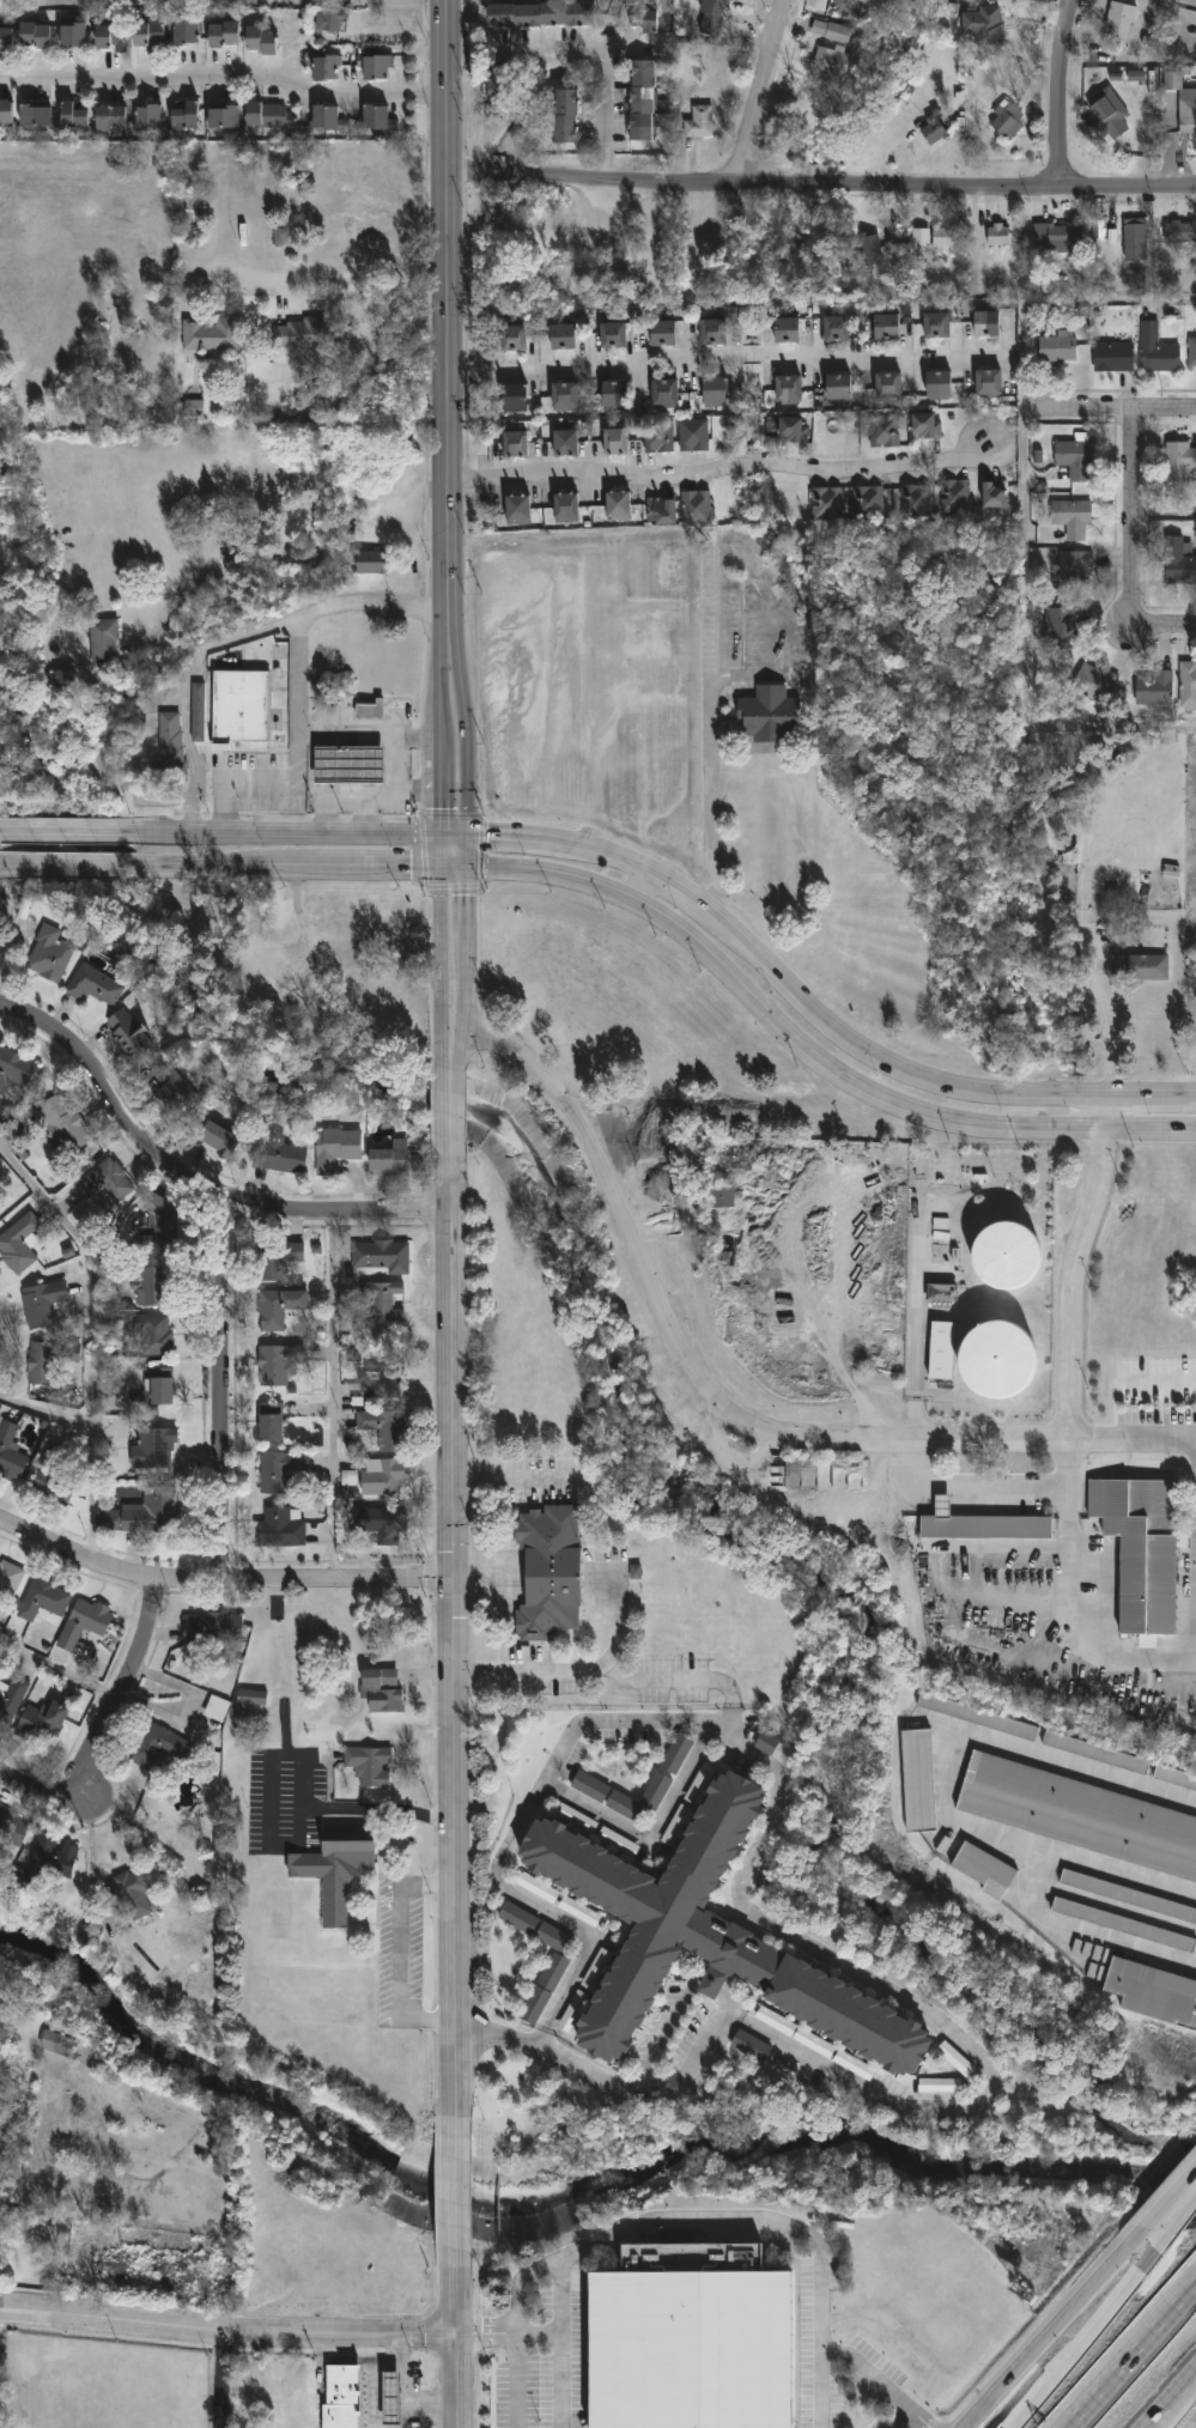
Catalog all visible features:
building: (540, 14)
building: (709, 17)
building: (643, 18)
building: (329, 22)
building: (1117, 23)
building: (982, 26)
building: (836, 34)
building: (184, 35)
building: (71, 36)
building: (147, 36)
building: (221, 36)
building: (34, 37)
building: (108, 38)
building: (6, 41)
building: (260, 41)
road: (590, 56)
building: (831, 62)
building: (326, 68)
building: (375, 69)
road: (225, 74)
building: (1135, 75)
building: (500, 86)
road: (763, 93)
road: (1062, 95)
building: (643, 99)
building: (1186, 113)
building: (6, 114)
building: (1107, 114)
building: (183, 116)
building: (566, 116)
building: (34, 117)
building: (74, 117)
building: (223, 117)
building: (110, 119)
building: (148, 119)
building: (324, 119)
building: (268, 120)
building: (376, 120)
building: (699, 122)
building: (1004, 122)
building: (930, 130)
road: (822, 188)
building: (190, 205)
building: (1098, 230)
building: (1179, 233)
building: (283, 236)
building: (921, 236)
building: (996, 236)
building: (941, 237)
building: (1057, 239)
building: (1133, 241)
building: (868, 250)
building: (834, 257)
road: (336, 281)
road: (1055, 301)
building: (985, 322)
building: (935, 323)
building: (886, 326)
road: (450, 327)
building: (836, 327)
building: (793, 328)
building: (711, 330)
building: (662, 332)
building: (612, 333)
building: (304, 335)
building: (563, 335)
building: (210, 336)
building: (511, 336)
building: (1055, 348)
building: (1155, 351)
building: (1191, 353)
building: (1111, 357)
road: (731, 362)
building: (988, 382)
building: (937, 383)
building: (887, 384)
building: (838, 387)
building: (787, 388)
building: (715, 390)
building: (664, 391)
building: (614, 394)
building: (564, 395)
building: (514, 396)
building: (194, 409)
road: (1115, 411)
building: (925, 424)
building: (793, 426)
building: (884, 429)
building: (658, 433)
building: (693, 433)
building: (615, 439)
building: (515, 442)
building: (565, 442)
building: (1071, 457)
building: (1177, 460)
road: (722, 471)
building: (954, 493)
building: (992, 493)
building: (915, 498)
building: (869, 500)
building: (825, 502)
building: (618, 505)
building: (694, 505)
building: (566, 506)
building: (517, 508)
building: (662, 509)
road: (1167, 516)
building: (1070, 517)
road: (1137, 545)
road: (731, 547)
building: (1178, 562)
building: (371, 563)
building: (1074, 570)
building: (1060, 629)
building: (103, 647)
road: (160, 647)
road: (1025, 650)
road: (758, 675)
building: (67, 680)
building: (1091, 682)
road: (438, 684)
building: (1186, 684)
road: (183, 685)
road: (296, 685)
building: (1152, 688)
building: (239, 709)
building: (369, 711)
building: (198, 714)
building: (767, 715)
road: (415, 735)
road: (345, 736)
road: (438, 737)
road: (465, 742)
road: (128, 746)
building: (170, 748)
building: (347, 767)
road: (395, 782)
road: (711, 794)
road: (438, 796)
road: (369, 802)
road: (334, 805)
road: (75, 830)
traffic signals: (438, 833)
traffic signals: (468, 833)
road: (579, 845)
road: (438, 849)
road: (75, 861)
road: (295, 863)
traffic signals: (438, 864)
road: (453, 864)
traffic signals: (468, 866)
road: (635, 882)
road: (438, 913)
road: (468, 925)
building: (49, 955)
road: (330, 958)
building: (1139, 967)
building: (92, 987)
building: (278, 993)
road: (439, 993)
building: (129, 1034)
road: (1105, 1034)
road: (445, 1038)
road: (460, 1038)
road: (808, 1051)
building: (14, 1070)
road: (1063, 1092)
building: (172, 1095)
road: (451, 1100)
building: (62, 1124)
building: (215, 1140)
building: (334, 1149)
building: (278, 1157)
building: (388, 1159)
building: (0, 1176)
road: (190, 1184)
building: (104, 1188)
building: (721, 1197)
building: (158, 1218)
building: (18, 1243)
building: (1007, 1256)
building: (380, 1257)
building: (278, 1261)
road: (1074, 1265)
building: (152, 1287)
building: (941, 1293)
building: (381, 1301)
building: (42, 1305)
building: (277, 1309)
building: (145, 1336)
road: (86, 1342)
building: (941, 1350)
building: (997, 1359)
building: (49, 1361)
building: (274, 1366)
building: (384, 1372)
road: (1161, 1380)
building: (162, 1388)
road: (226, 1389)
road: (330, 1397)
road: (718, 1416)
building: (269, 1424)
building: (383, 1428)
building: (153, 1450)
building: (10, 1453)
building: (278, 1471)
building: (55, 1476)
building: (382, 1479)
road: (504, 1481)
road: (981, 1488)
building: (142, 1515)
building: (982, 1524)
building: (382, 1525)
building: (280, 1529)
building: (1141, 1549)
building: (548, 1571)
building: (635, 1572)
traffic signals: (454, 1574)
road: (481, 1574)
road: (220, 1579)
building: (8, 1582)
building: (43, 1601)
road: (1067, 1607)
road: (613, 1619)
building: (84, 1623)
building: (211, 1629)
road: (454, 1629)
road: (602, 1670)
road: (59, 1671)
building: (381, 1692)
building: (11, 1699)
building: (247, 1706)
building: (217, 1708)
building: (977, 1717)
road: (105, 1723)
building: (43, 1724)
building: (766, 1743)
building: (157, 1750)
building: (1093, 1753)
building: (370, 1766)
road: (287, 1777)
building: (1174, 1778)
building: (663, 1779)
building: (917, 1781)
road: (884, 1787)
building: (1079, 1816)
road: (517, 1820)
building: (13, 1829)
road: (651, 1832)
building: (223, 1846)
road: (92, 1850)
building: (47, 1863)
building: (983, 1870)
building: (341, 1875)
building: (538, 1888)
building: (130, 1894)
building: (1128, 1896)
building: (579, 1911)
building: (518, 1918)
building: (1124, 1925)
building: (703, 1936)
building: (554, 1938)
road: (400, 1950)
road: (710, 1986)
building: (544, 1989)
building: (1153, 1993)
road: (891, 1995)
road: (727, 2002)
building: (776, 2021)
road: (663, 2031)
road: (540, 2038)
building: (814, 2042)
building: (56, 2044)
building: (751, 2046)
building: (955, 2059)
road: (612, 2084)
building: (940, 2086)
road: (455, 2163)
road: (1162, 2205)
road: (700, 2220)
road: (1173, 2227)
road: (454, 2319)
road: (538, 2330)
road: (225, 2335)
road: (1044, 2335)
building: (691, 2341)
road: (559, 2343)
road: (1079, 2343)
road: (1130, 2355)
road: (377, 2373)
road: (516, 2379)
road: (220, 2381)
road: (880, 2383)
building: (340, 2397)
road: (1168, 2398)
building: (390, 2399)
road: (417, 2404)
road: (903, 2418)

